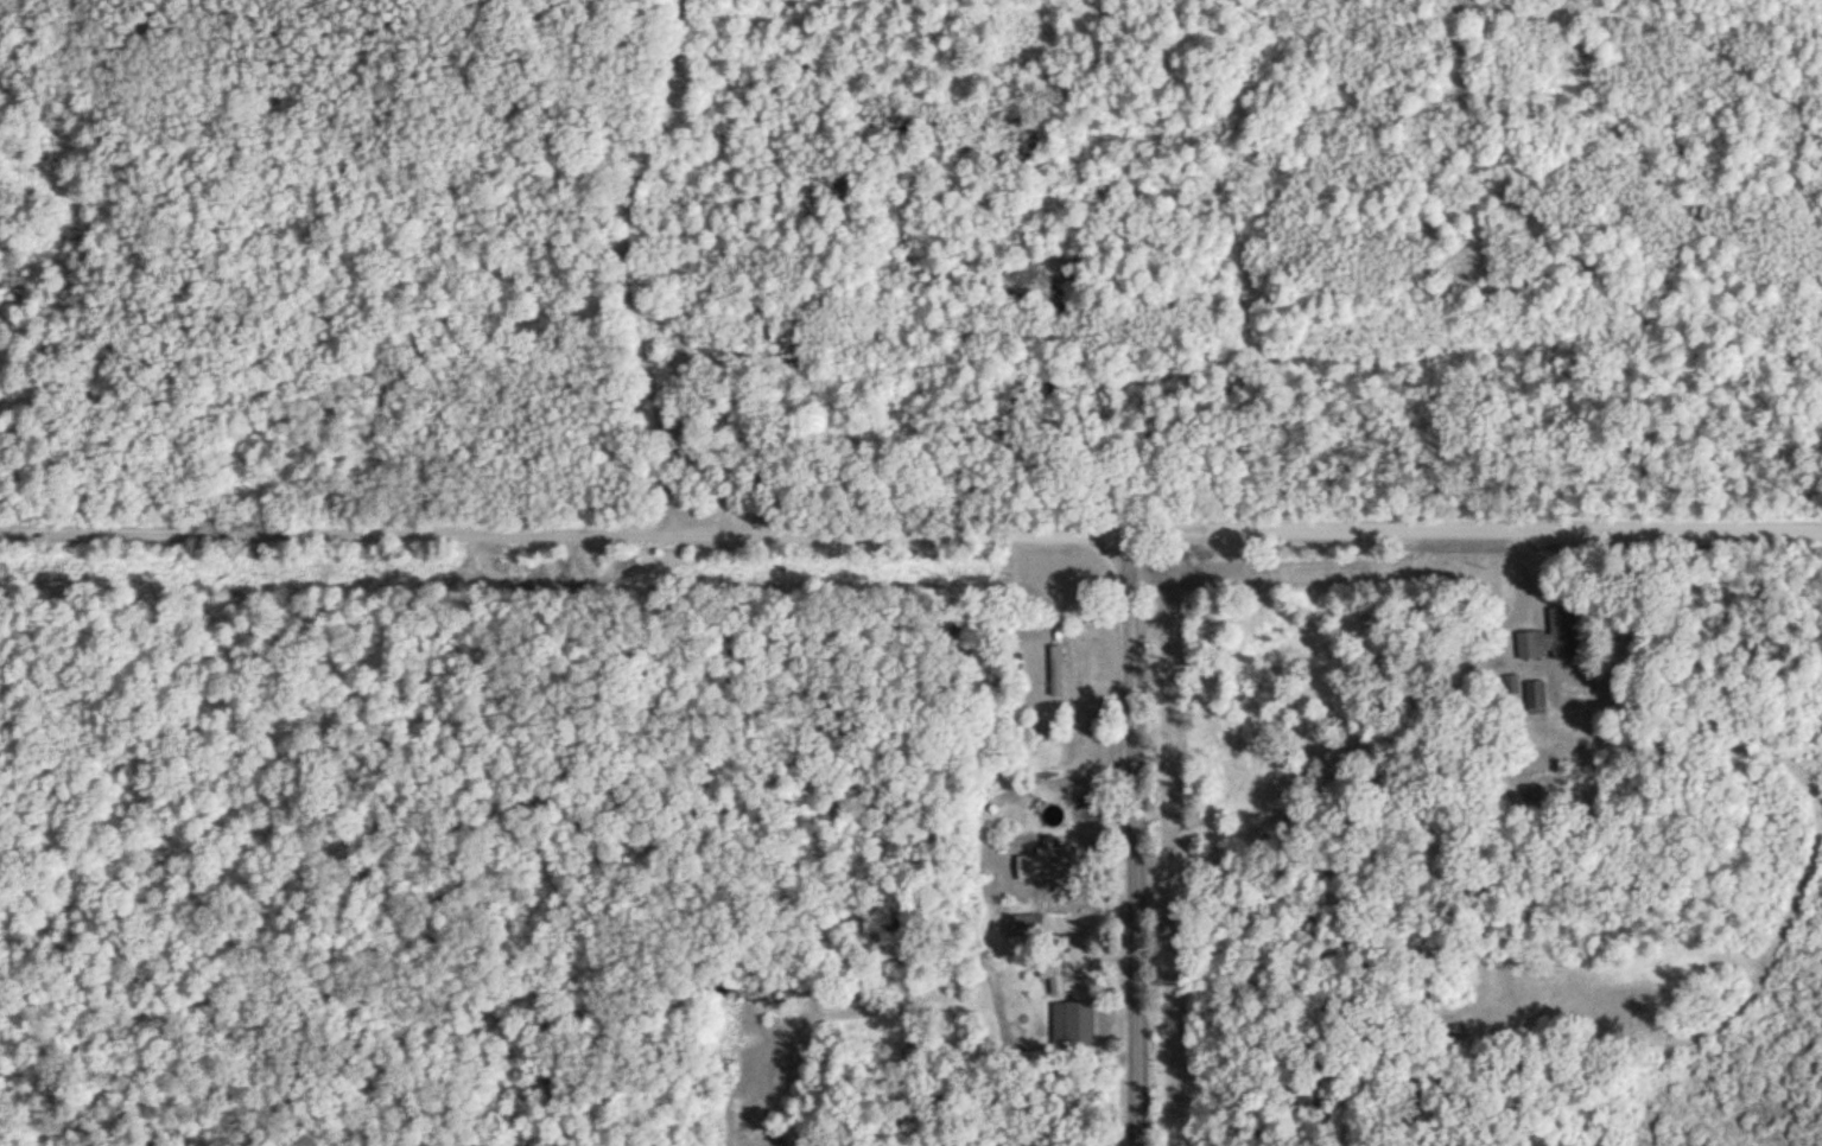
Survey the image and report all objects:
road: (630, 261)
road: (910, 528)
building: (1551, 638)
building: (1059, 670)
building: (1512, 683)
building: (1537, 695)
road: (1132, 838)
building: (1050, 862)
road: (360, 902)
building: (1074, 1024)

